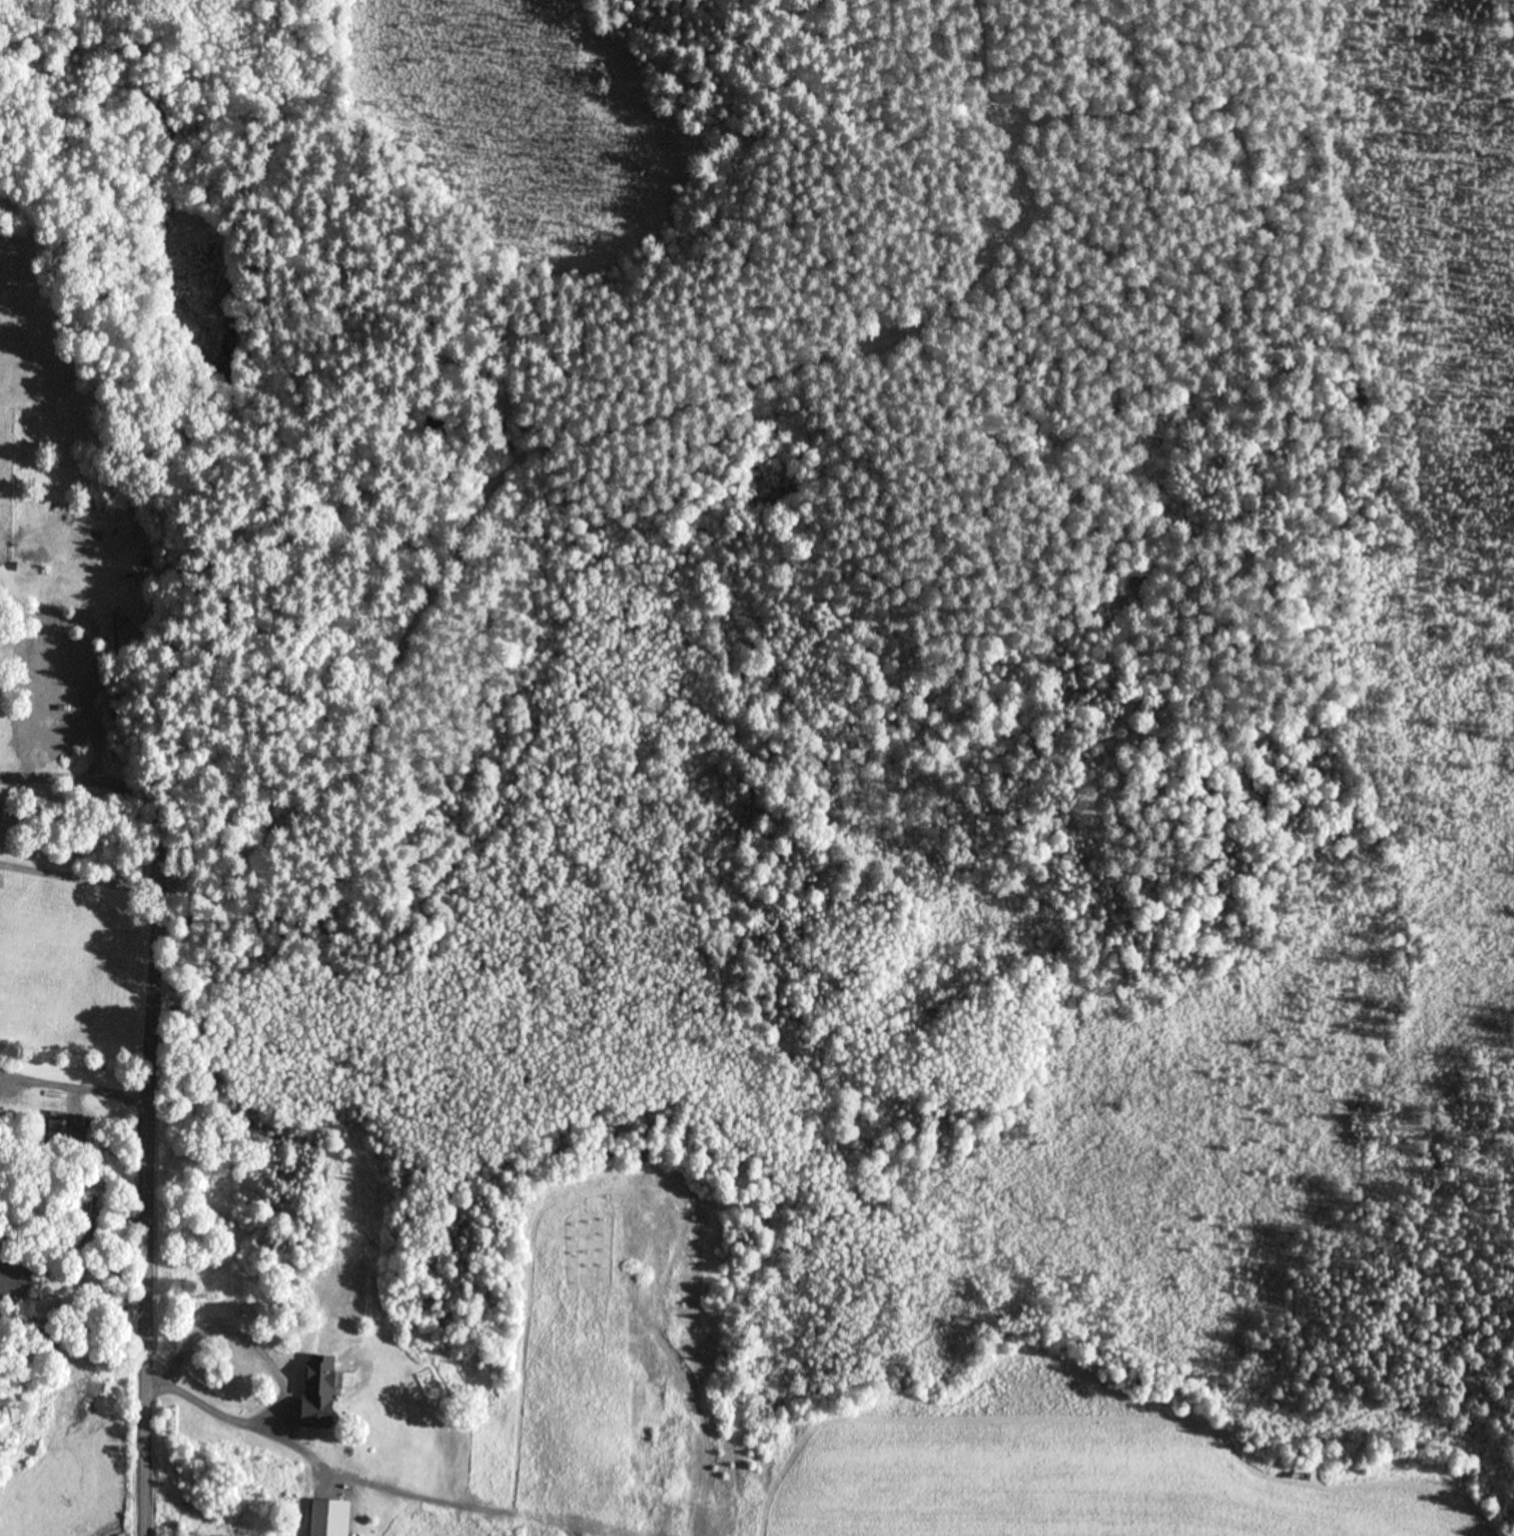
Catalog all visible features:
building: (116, 575)
building: (63, 1136)
road: (147, 1145)
building: (87, 1215)
building: (13, 1275)
building: (309, 1413)

